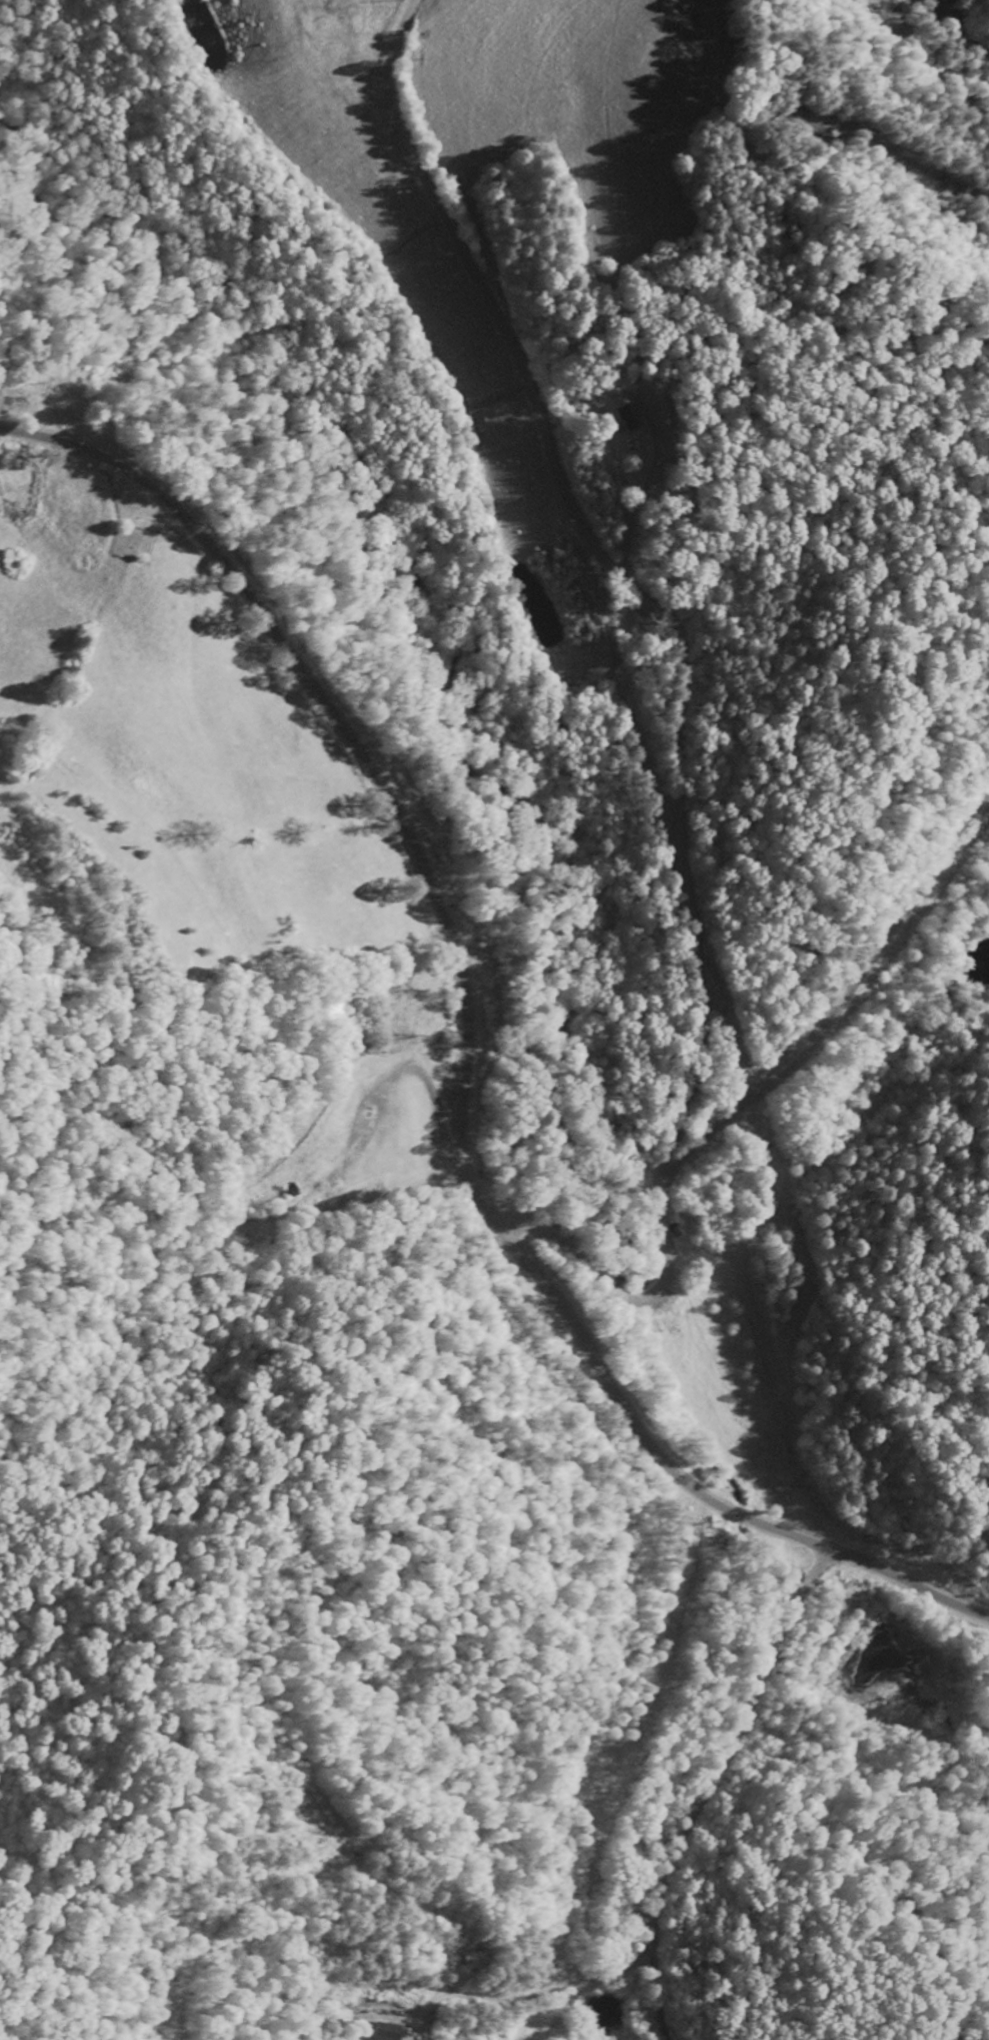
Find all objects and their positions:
building: (630, 421)
road: (364, 758)
road: (675, 809)
road: (578, 1260)
road: (695, 1488)
road: (707, 1785)
building: (385, 2031)

